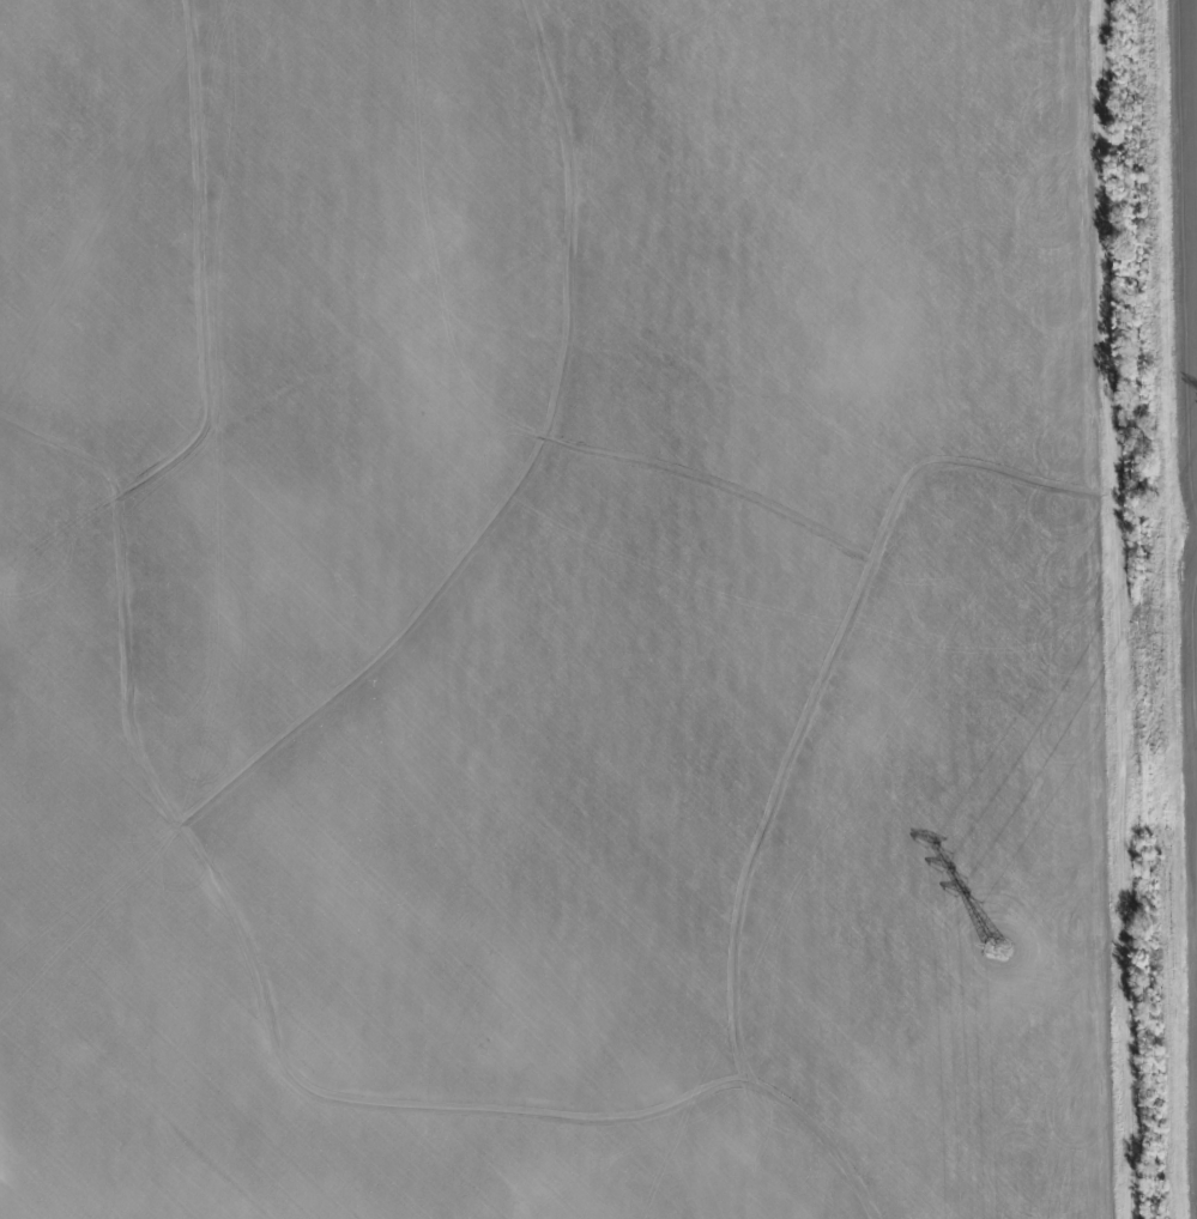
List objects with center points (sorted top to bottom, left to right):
road: (1177, 609)
power tower: (997, 951)

